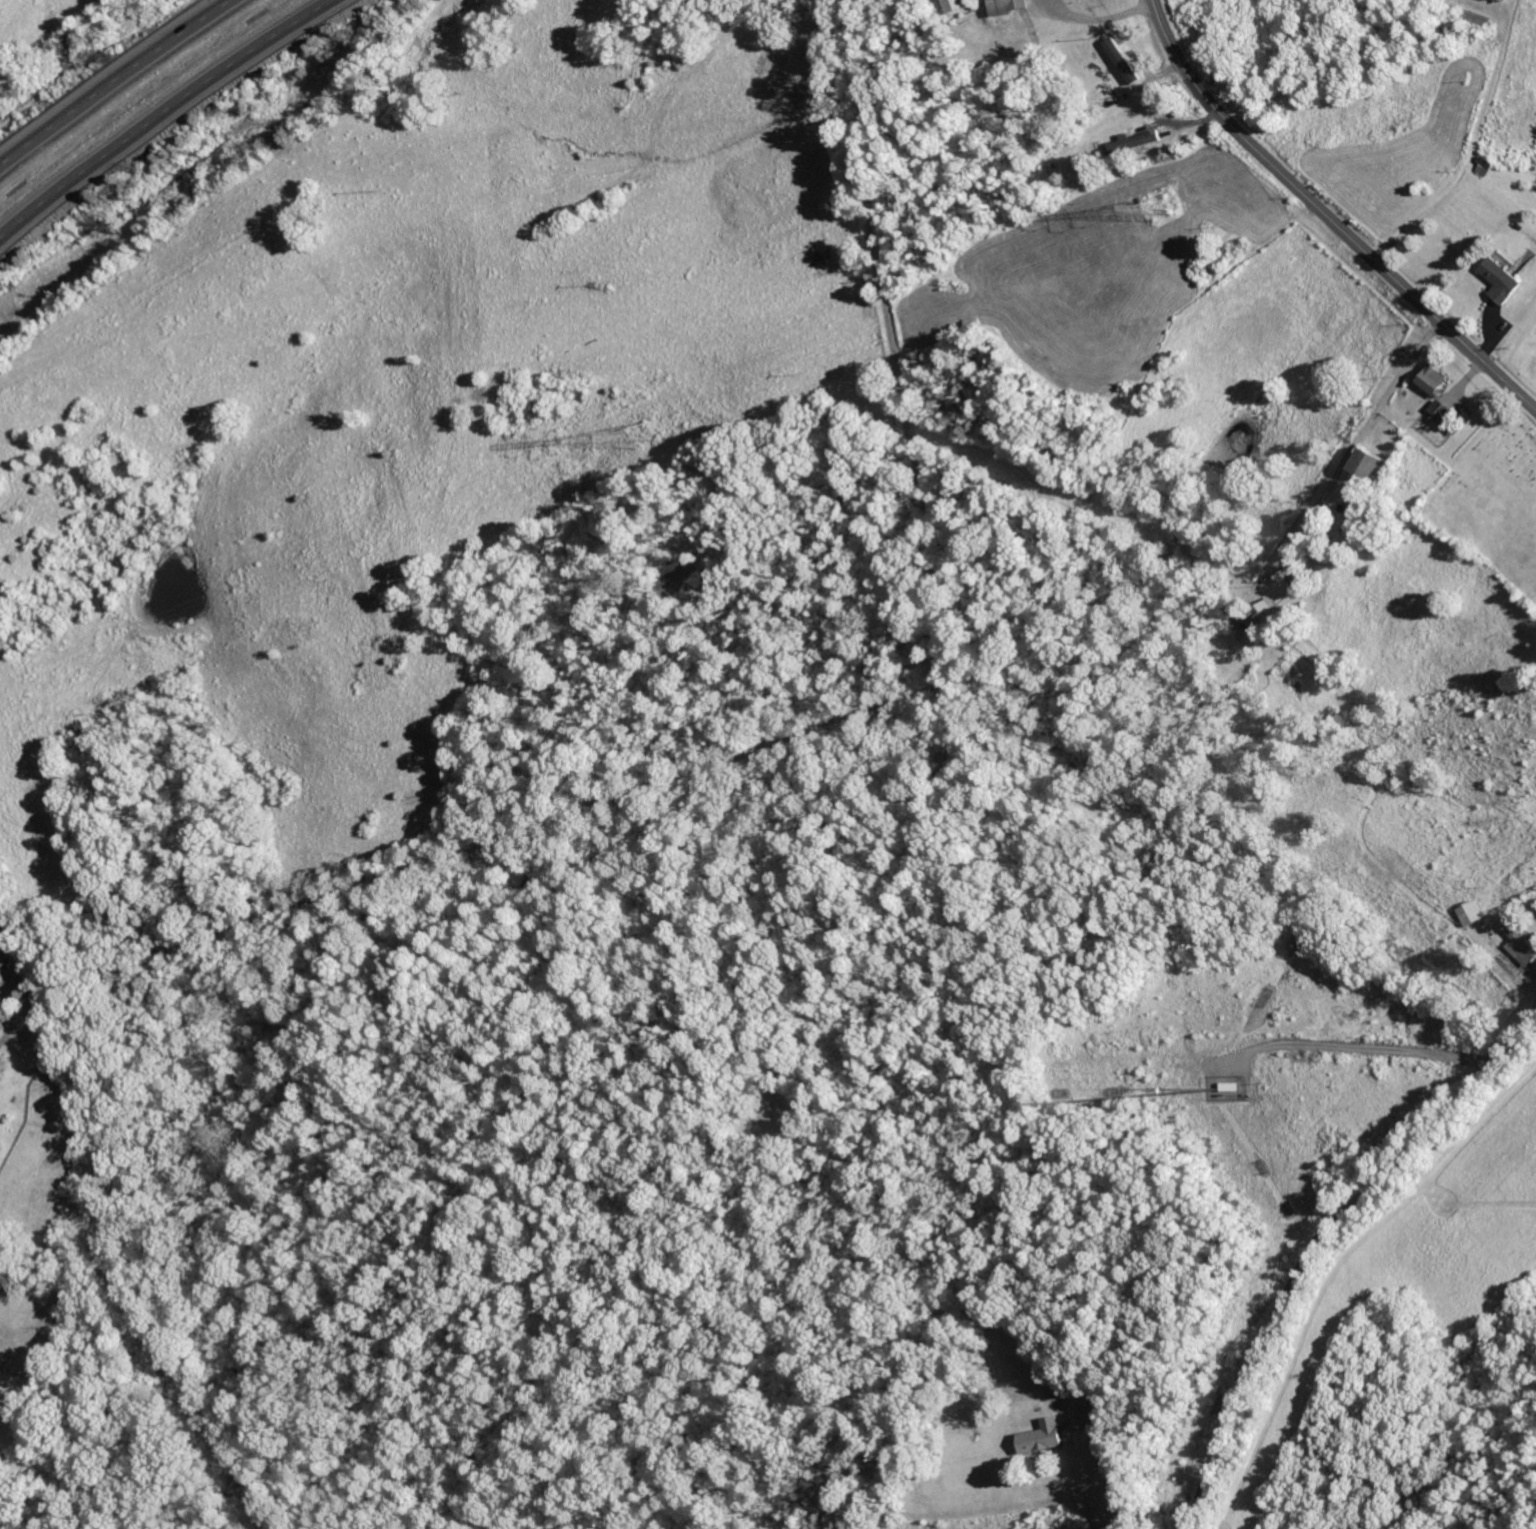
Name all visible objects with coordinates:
building: (1505, 0)
building: (958, 5)
building: (1010, 6)
building: (1125, 60)
road: (113, 80)
road: (167, 115)
building: (1137, 141)
road: (864, 166)
building: (1486, 167)
power tower: (1165, 206)
road: (1328, 218)
building: (1503, 281)
building: (1433, 379)
building: (1440, 410)
power tower: (643, 435)
road: (1358, 444)
building: (1371, 464)
park: (1492, 497)
building: (1269, 616)
road: (626, 793)
building: (1471, 913)
building: (1522, 943)
road: (1318, 1240)
building: (1089, 1416)
building: (1044, 1436)
road: (1117, 1482)

